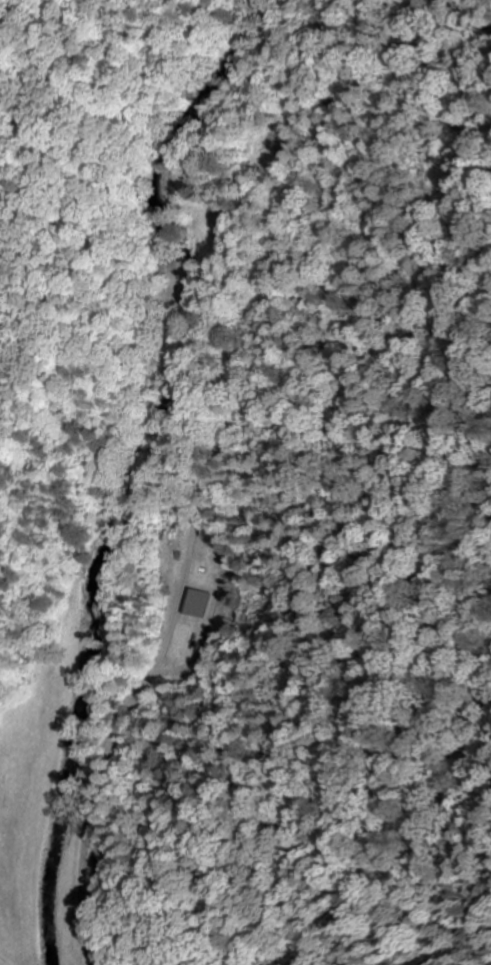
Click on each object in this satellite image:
road: (103, 445)
building: (206, 602)

